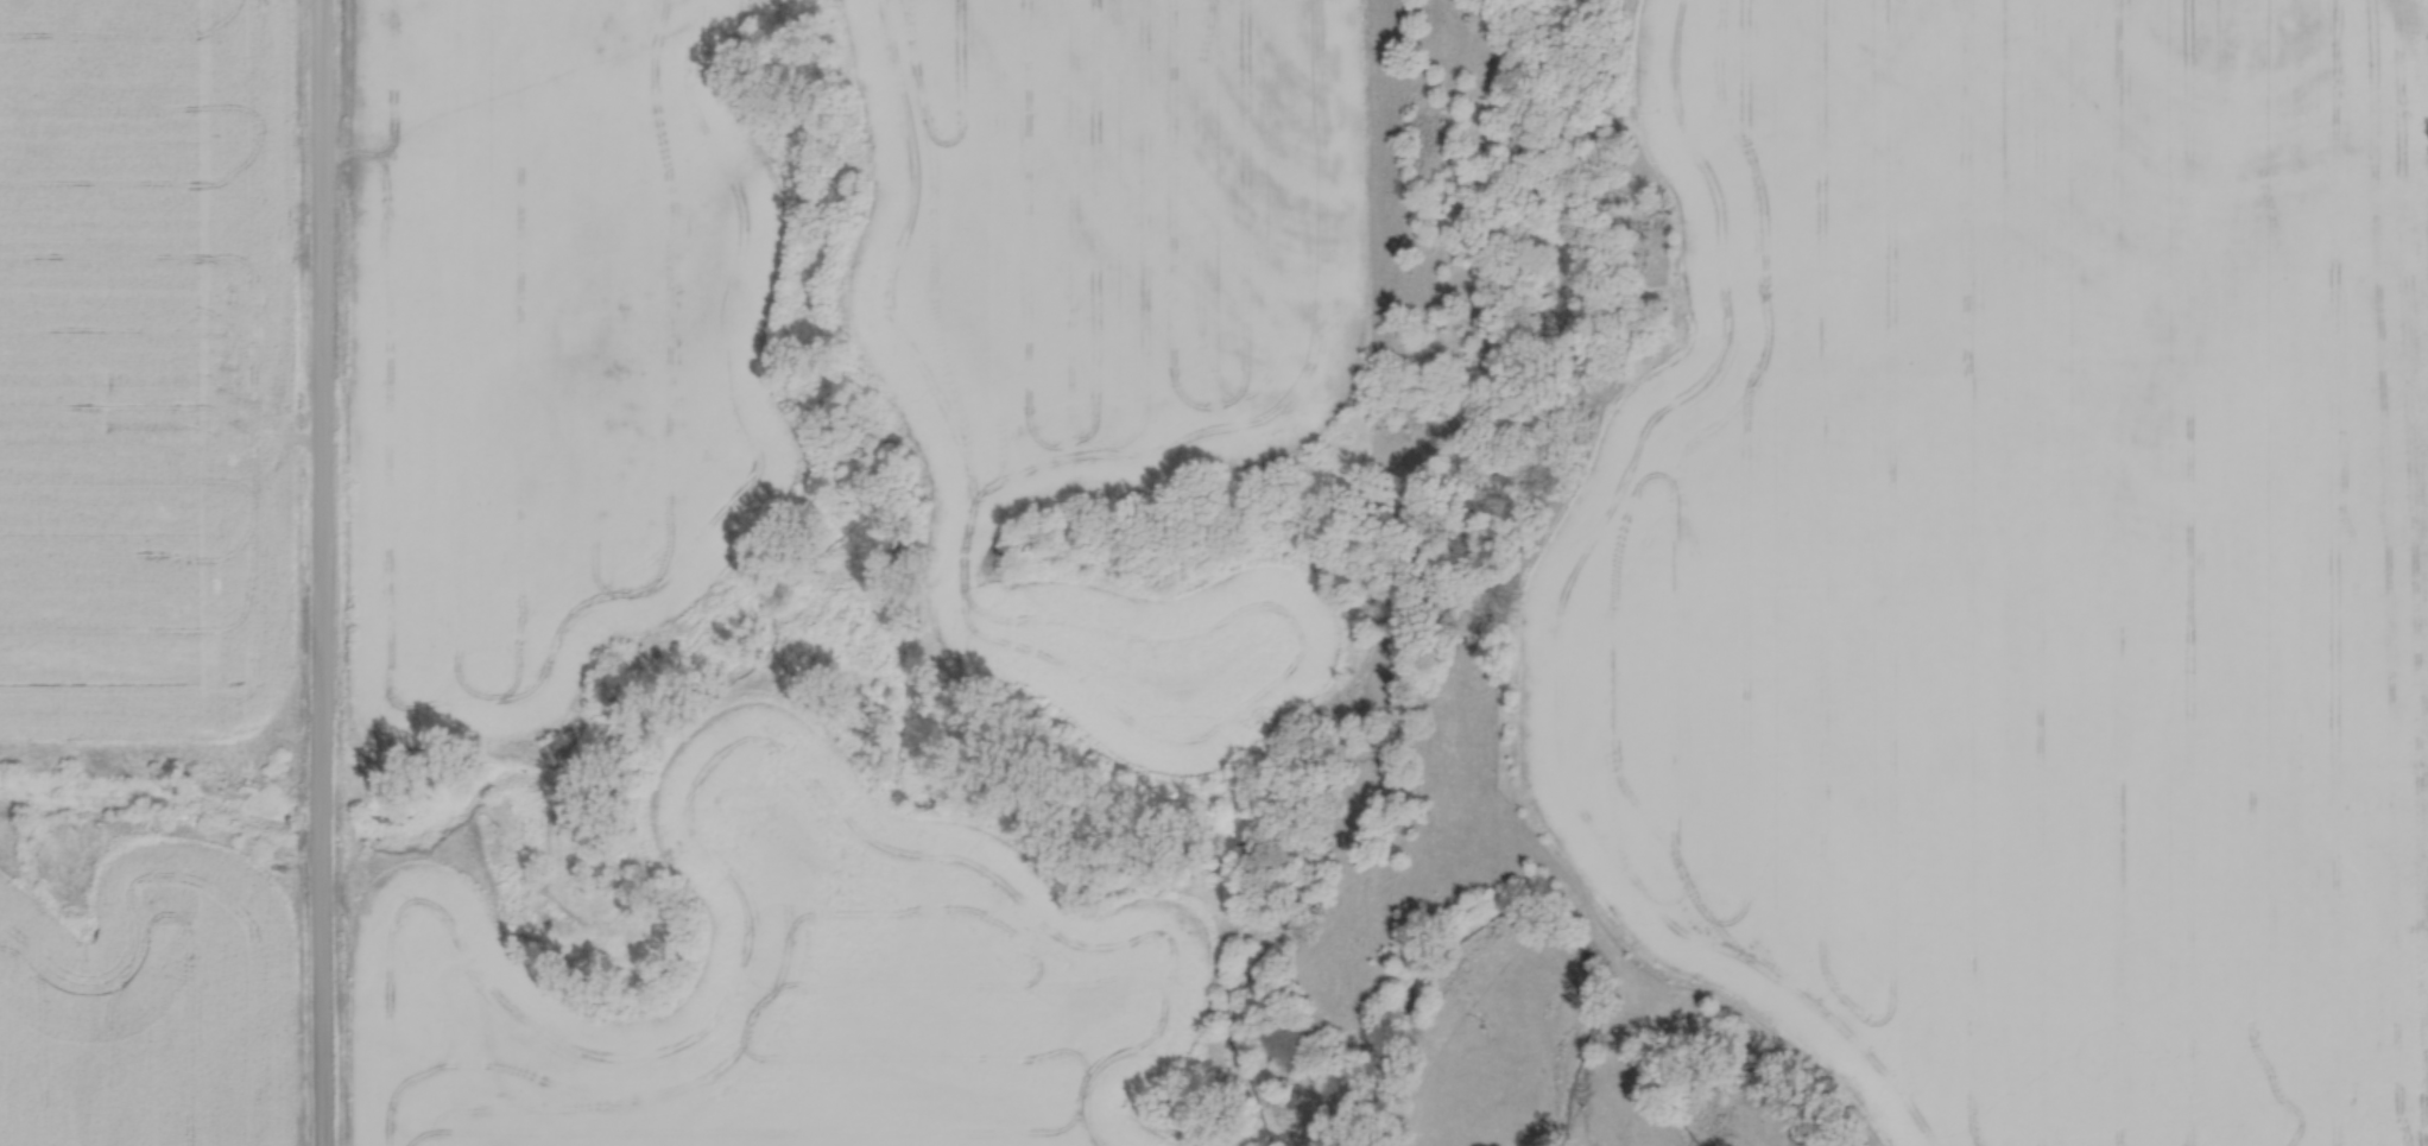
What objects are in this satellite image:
road: (318, 572)

